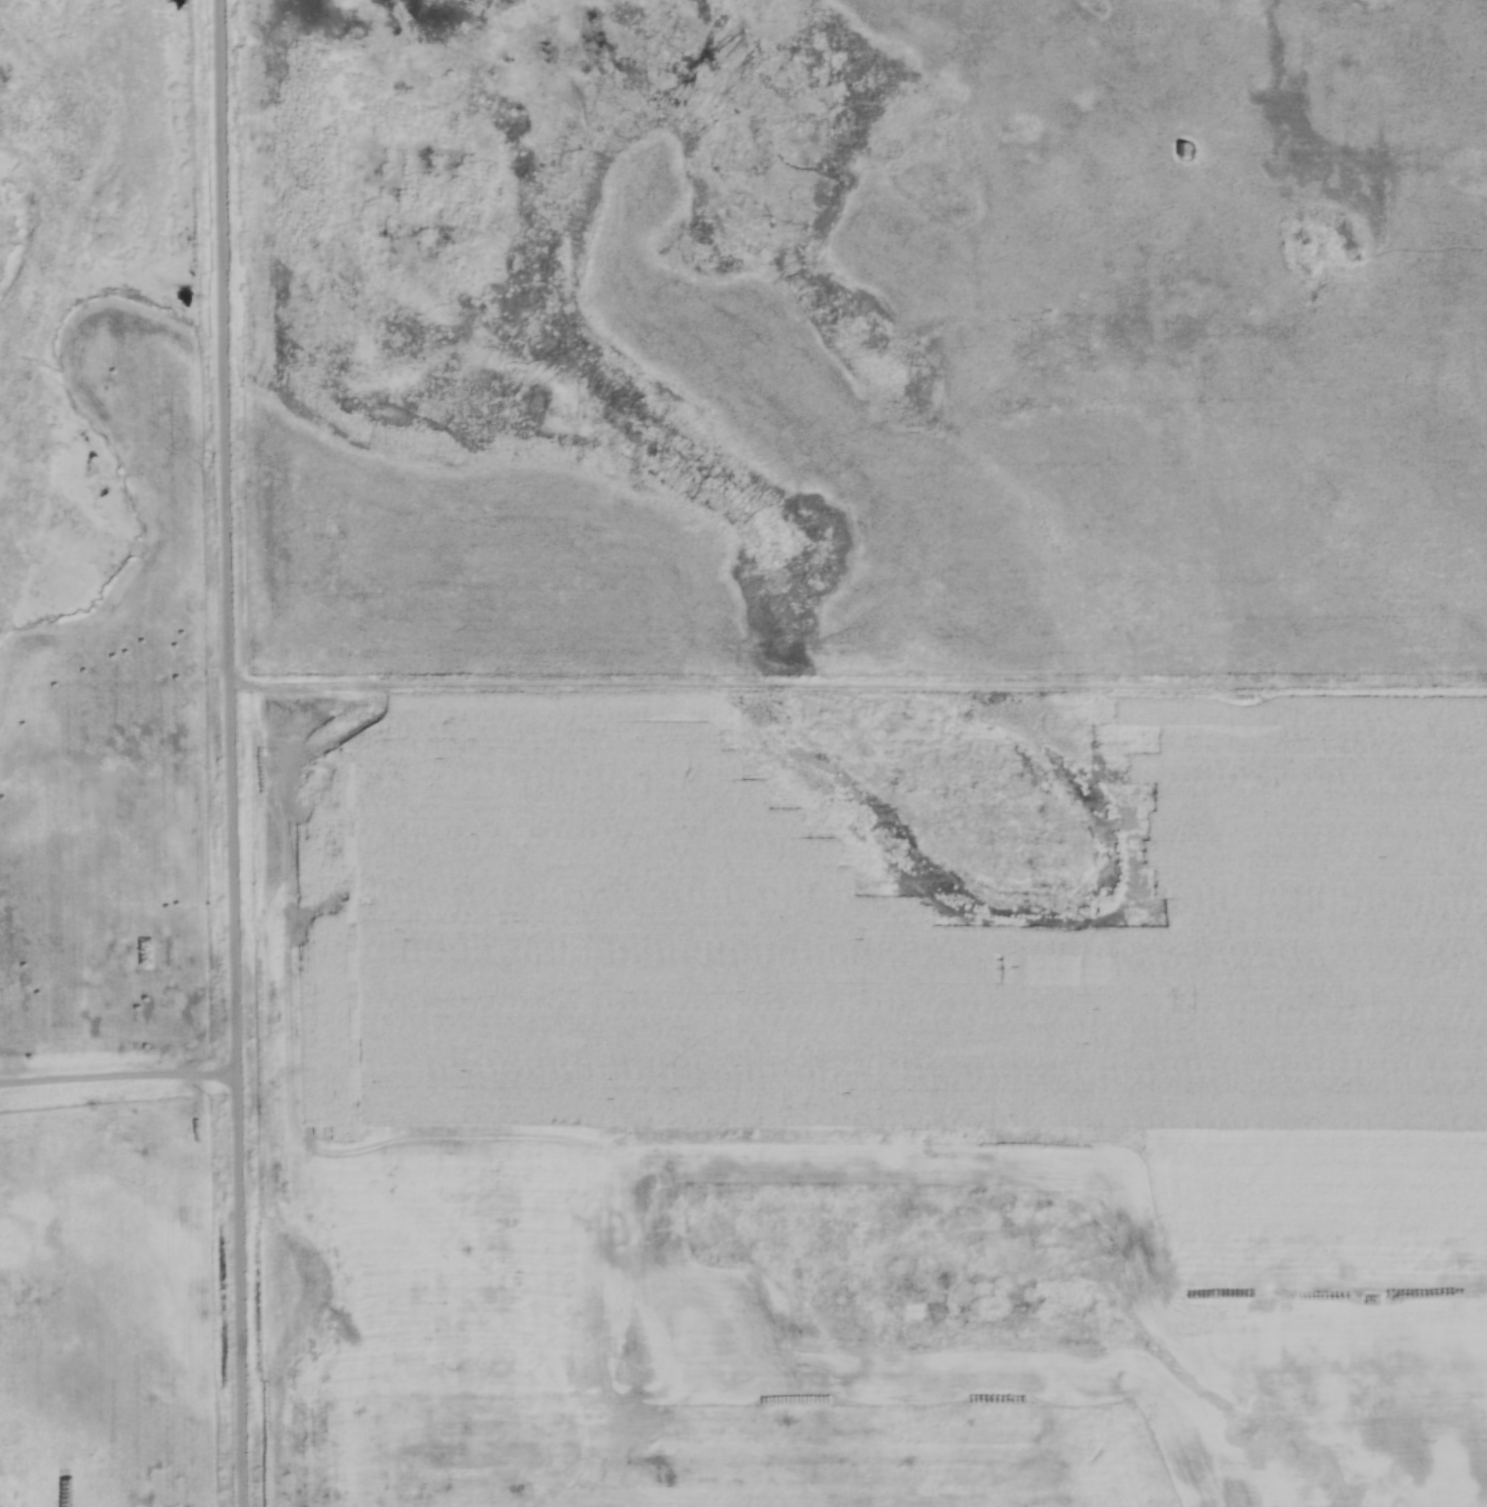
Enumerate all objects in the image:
building: (1182, 149)
road: (243, 753)
building: (146, 1015)
road: (123, 1055)
building: (63, 1479)

